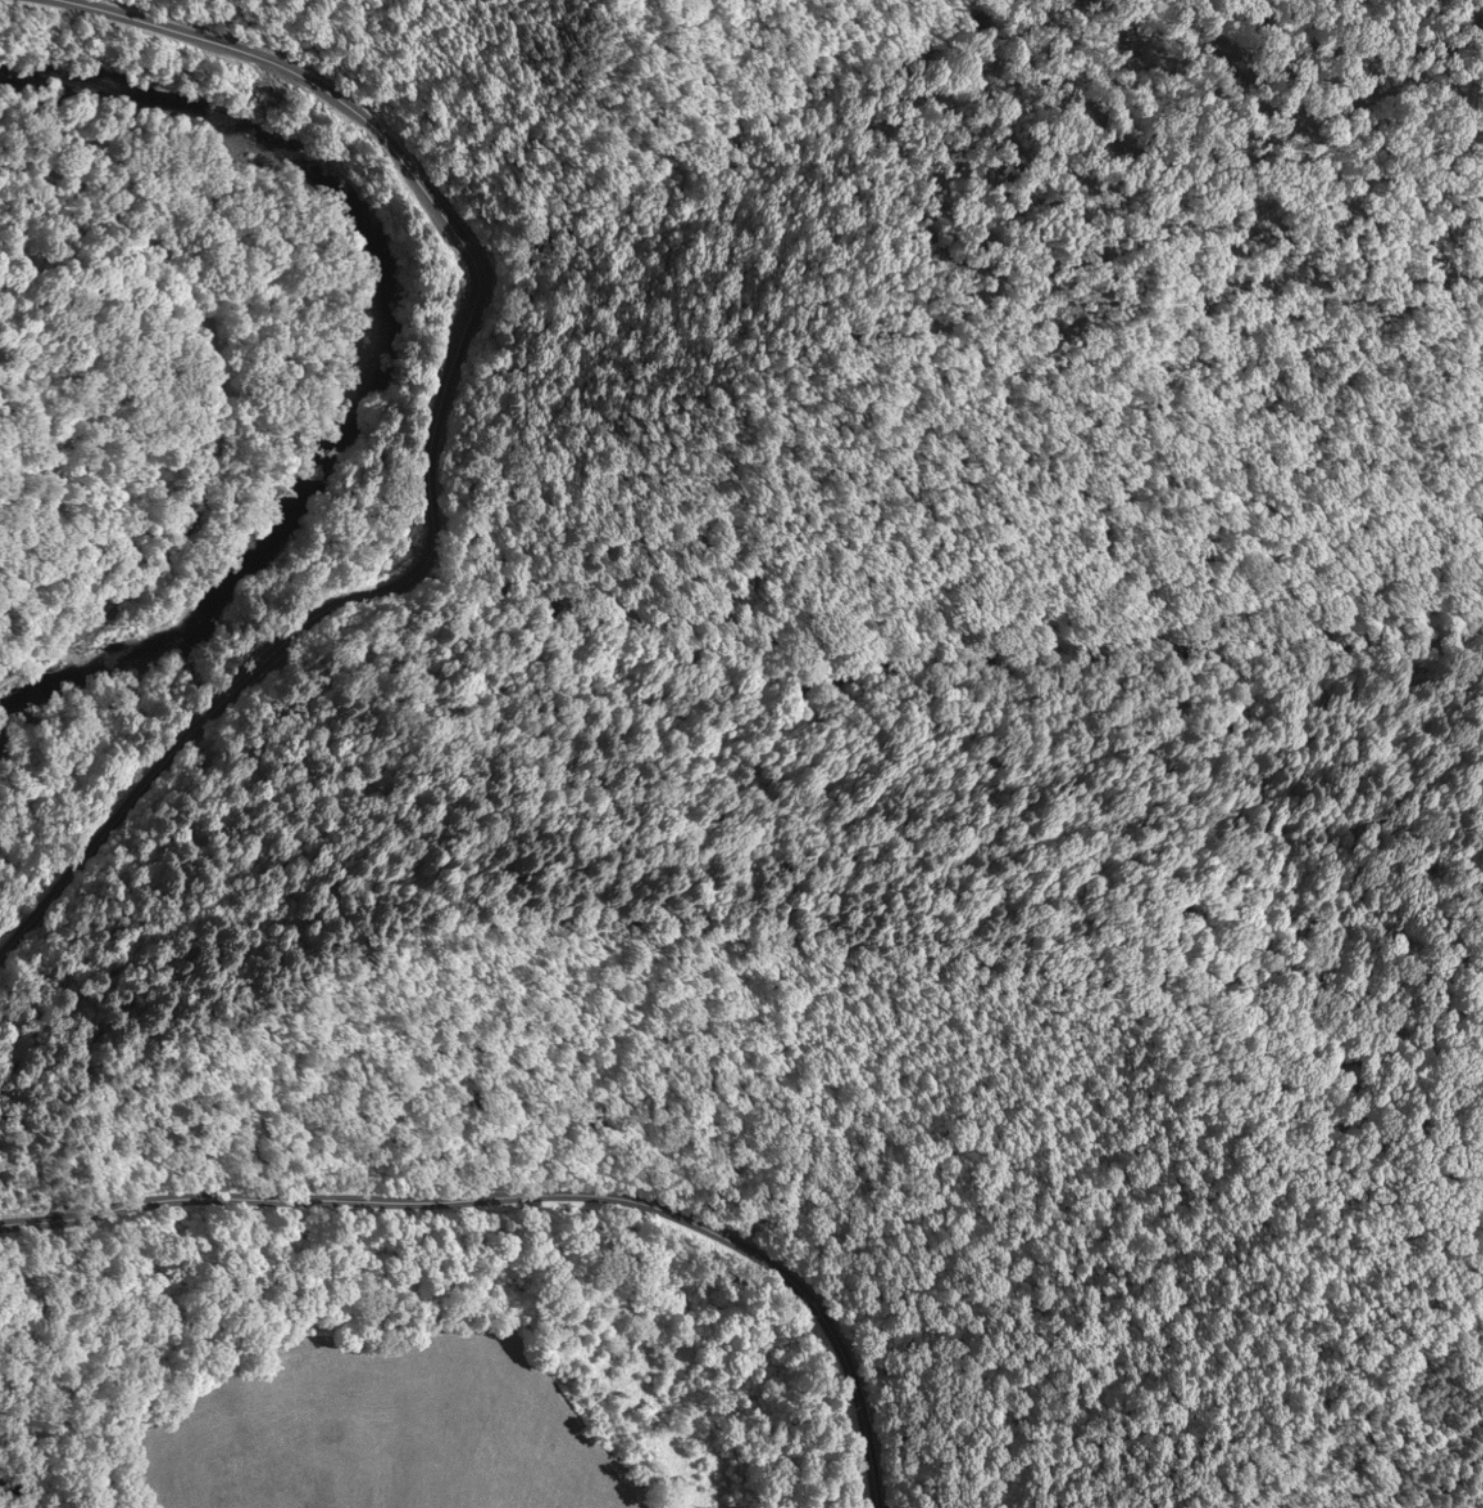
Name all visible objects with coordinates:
road: (428, 452)
road: (531, 1192)
crop: (377, 1429)

